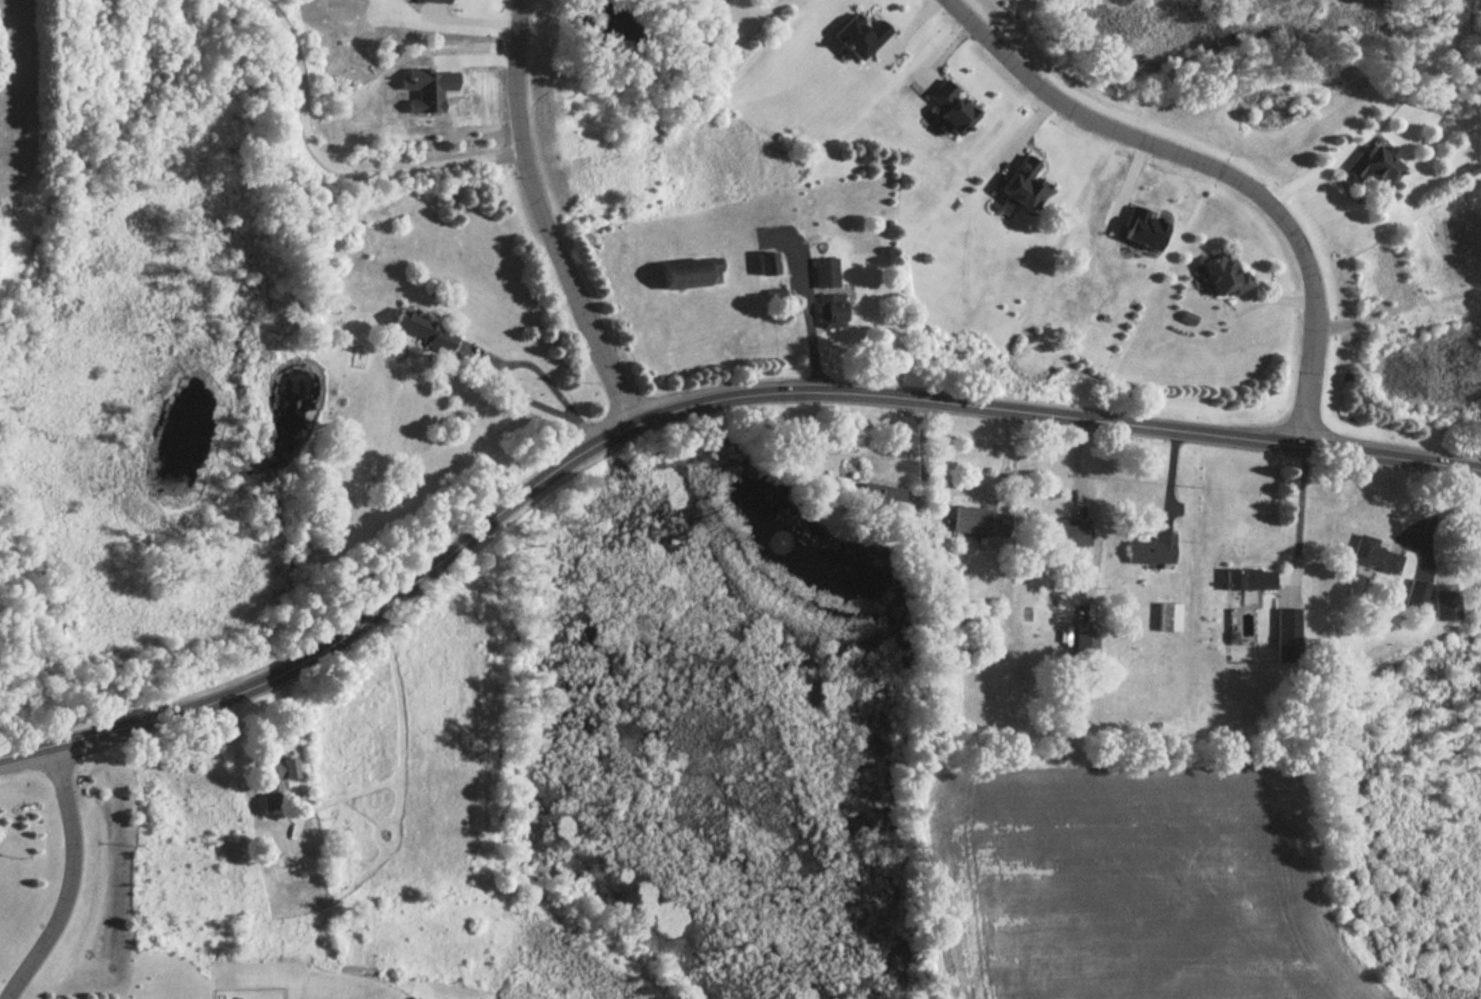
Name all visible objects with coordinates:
building: (1369, 167)
road: (1214, 169)
road: (326, 178)
road: (543, 217)
building: (763, 263)
building: (685, 274)
building: (1219, 276)
building: (827, 292)
road: (812, 323)
building: (426, 333)
road: (486, 361)
road: (517, 365)
road: (694, 401)
road: (963, 492)
road: (1300, 510)
road: (1440, 515)
building: (978, 522)
building: (1065, 538)
building: (1148, 550)
building: (1372, 556)
building: (1246, 579)
building: (1417, 595)
building: (1447, 605)
building: (1165, 617)
building: (1289, 633)
road: (294, 725)
building: (275, 774)
building: (281, 873)
road: (70, 877)

